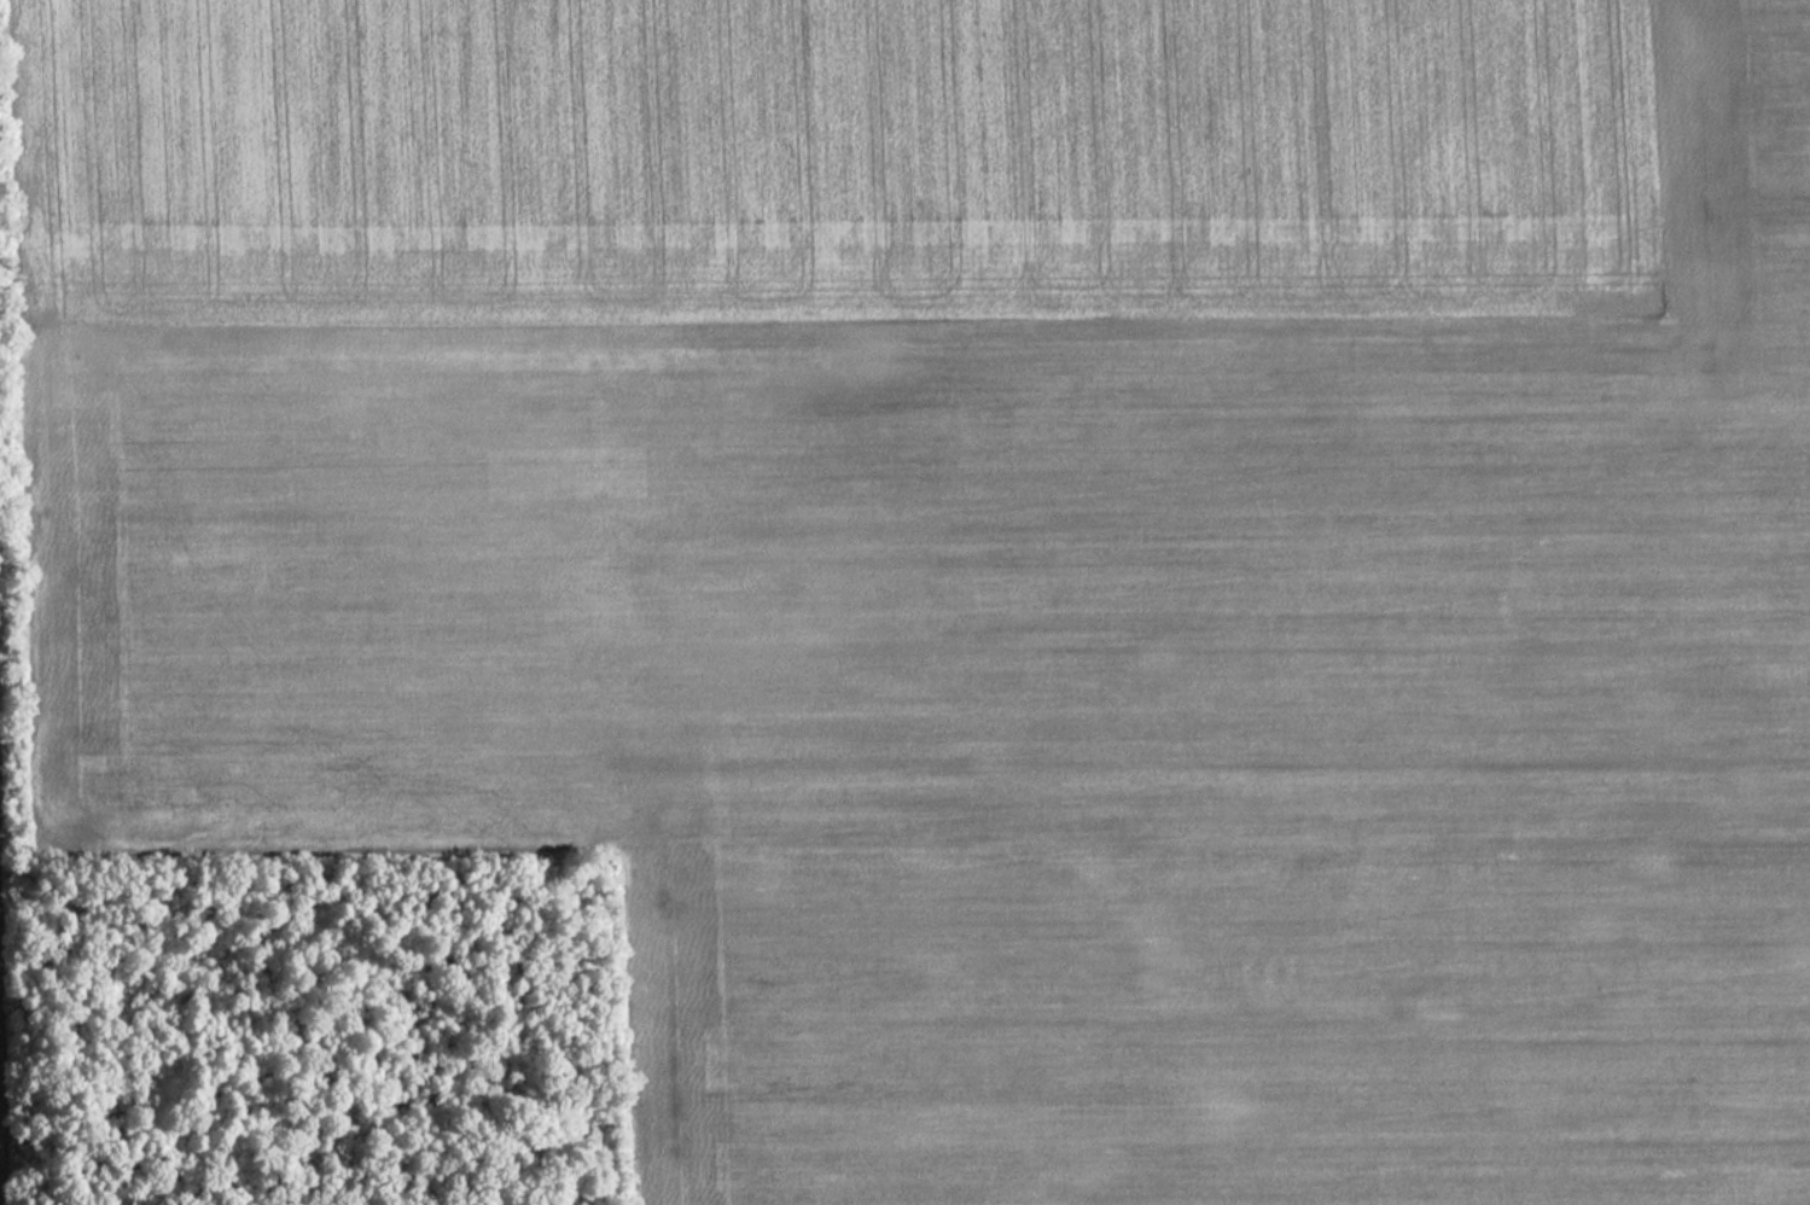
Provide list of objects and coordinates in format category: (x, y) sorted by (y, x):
crop: (977, 560)

